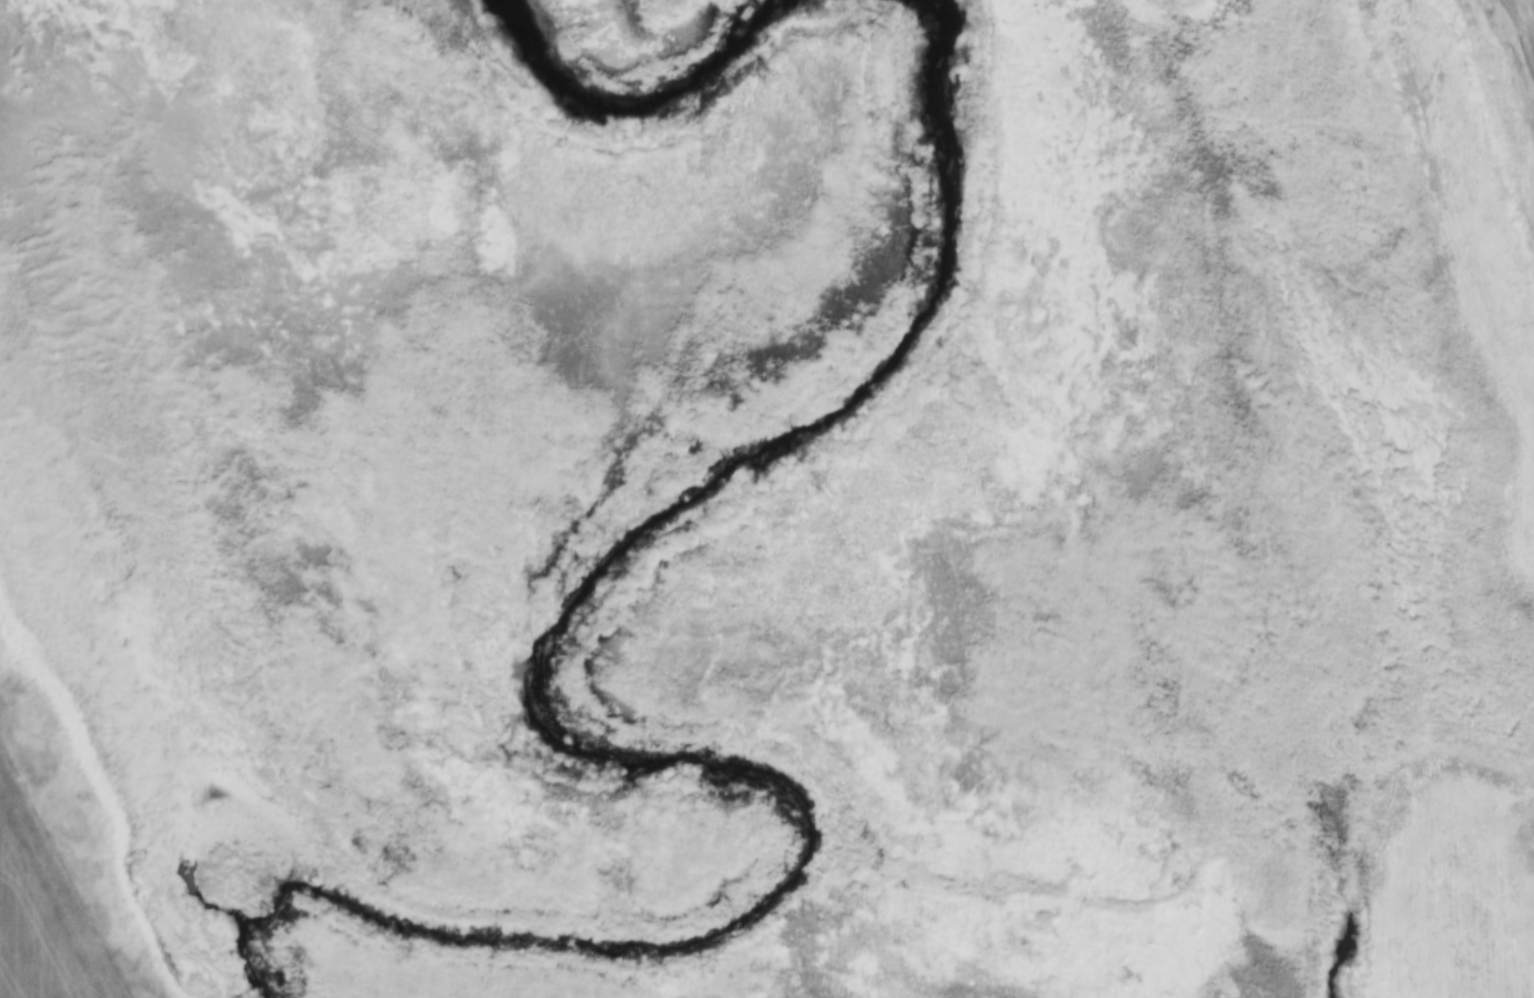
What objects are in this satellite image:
river: (646, 88)
river: (604, 743)

